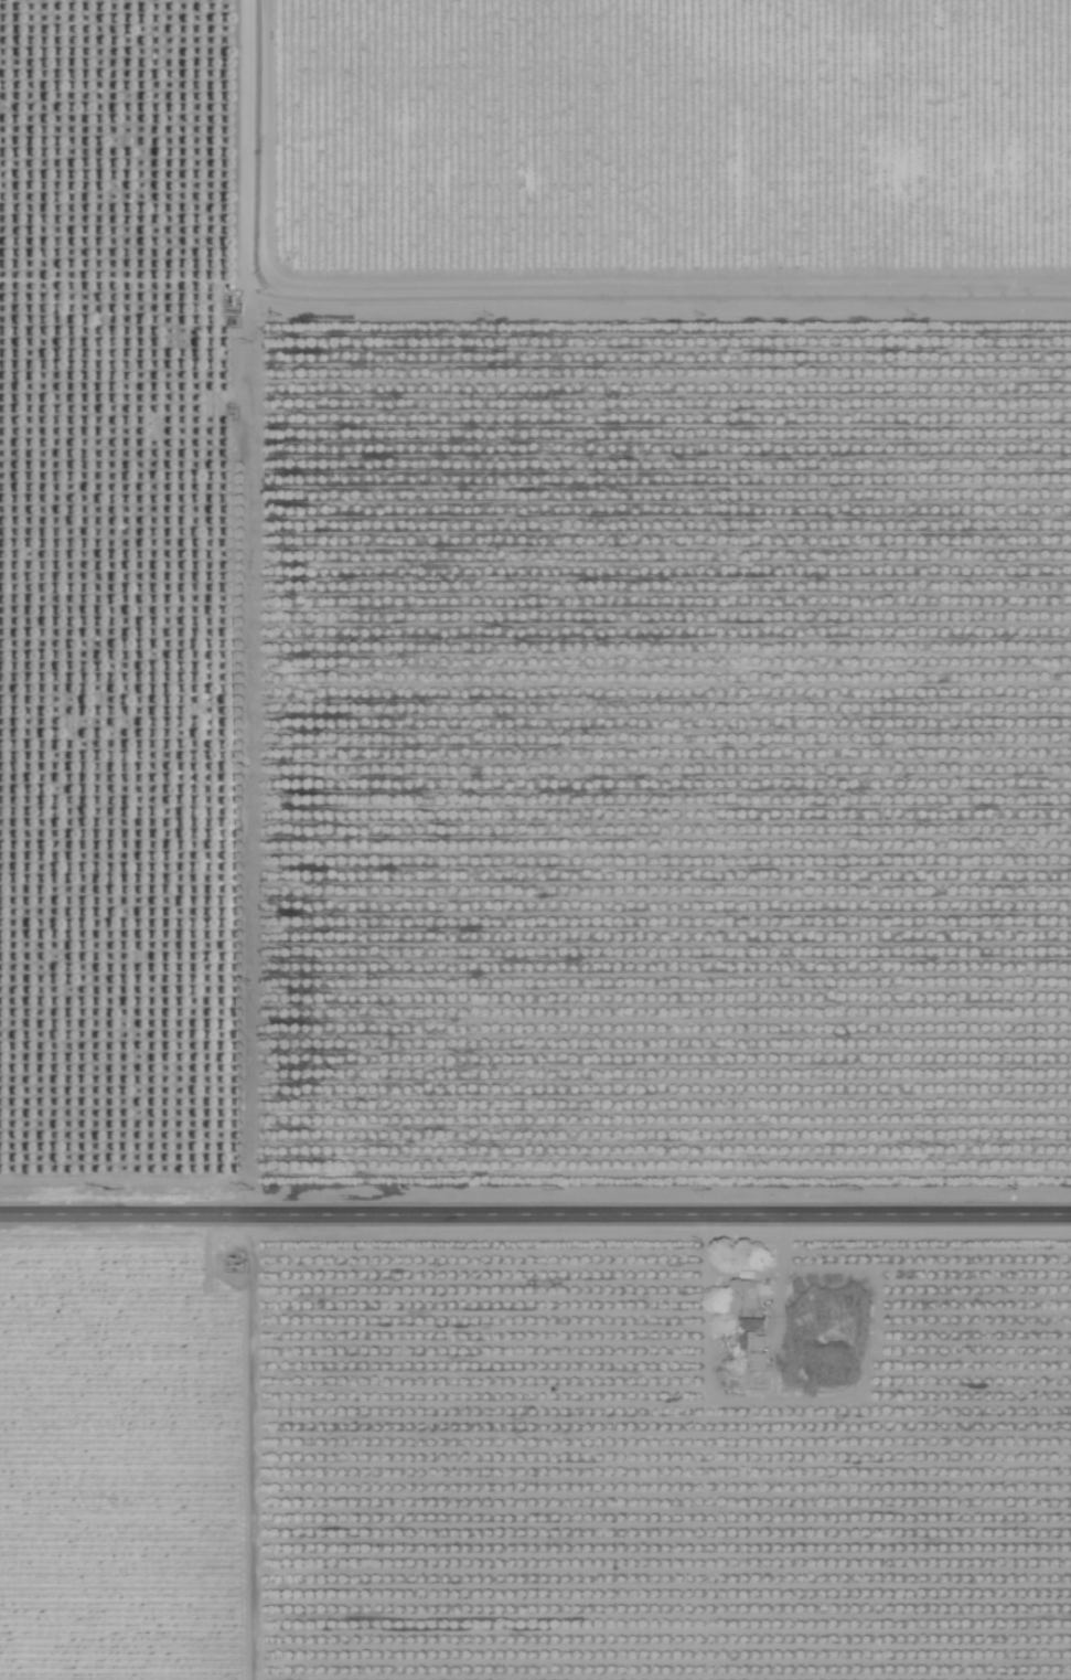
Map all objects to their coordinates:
road: (255, 840)
crop: (535, 840)
road: (535, 1214)
building: (746, 1305)
building: (759, 1352)
building: (823, 1352)

